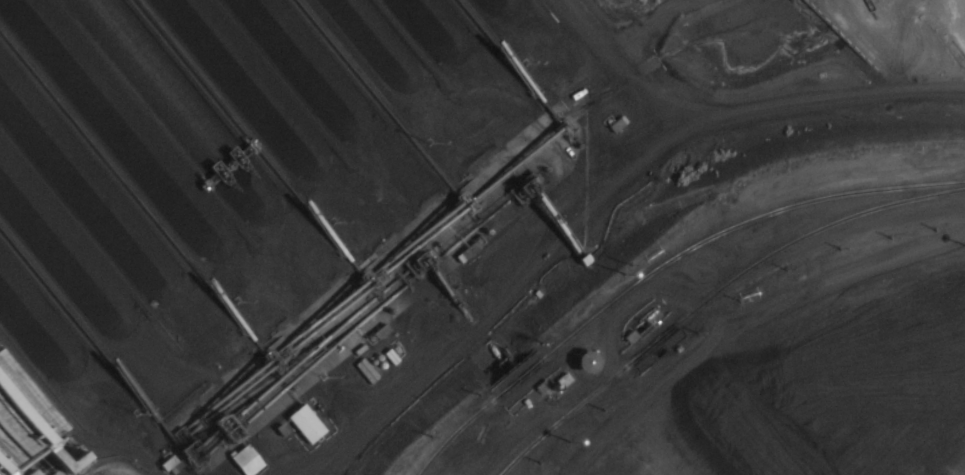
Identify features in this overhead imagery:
power plant: (444, 261)
railway: (667, 269)
railway: (718, 299)
building: (304, 421)
building: (30, 433)
building: (246, 460)

